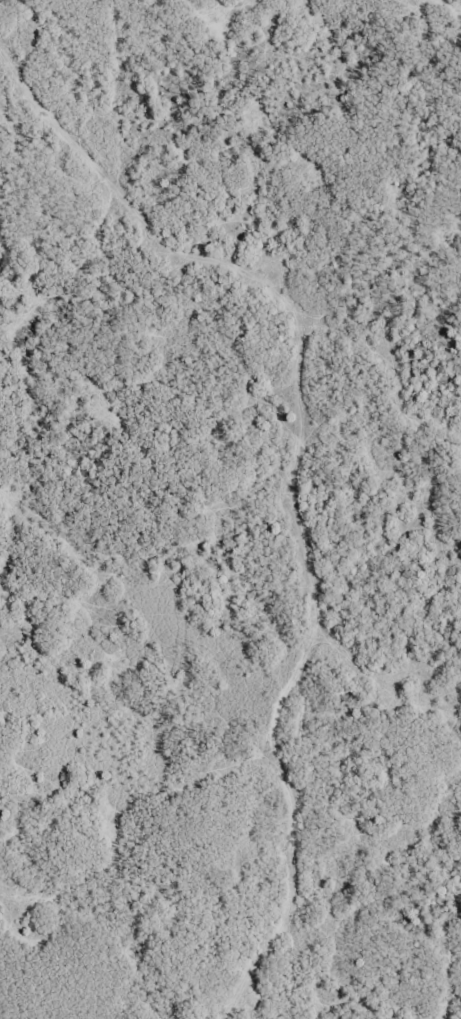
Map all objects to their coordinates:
road: (266, 521)

